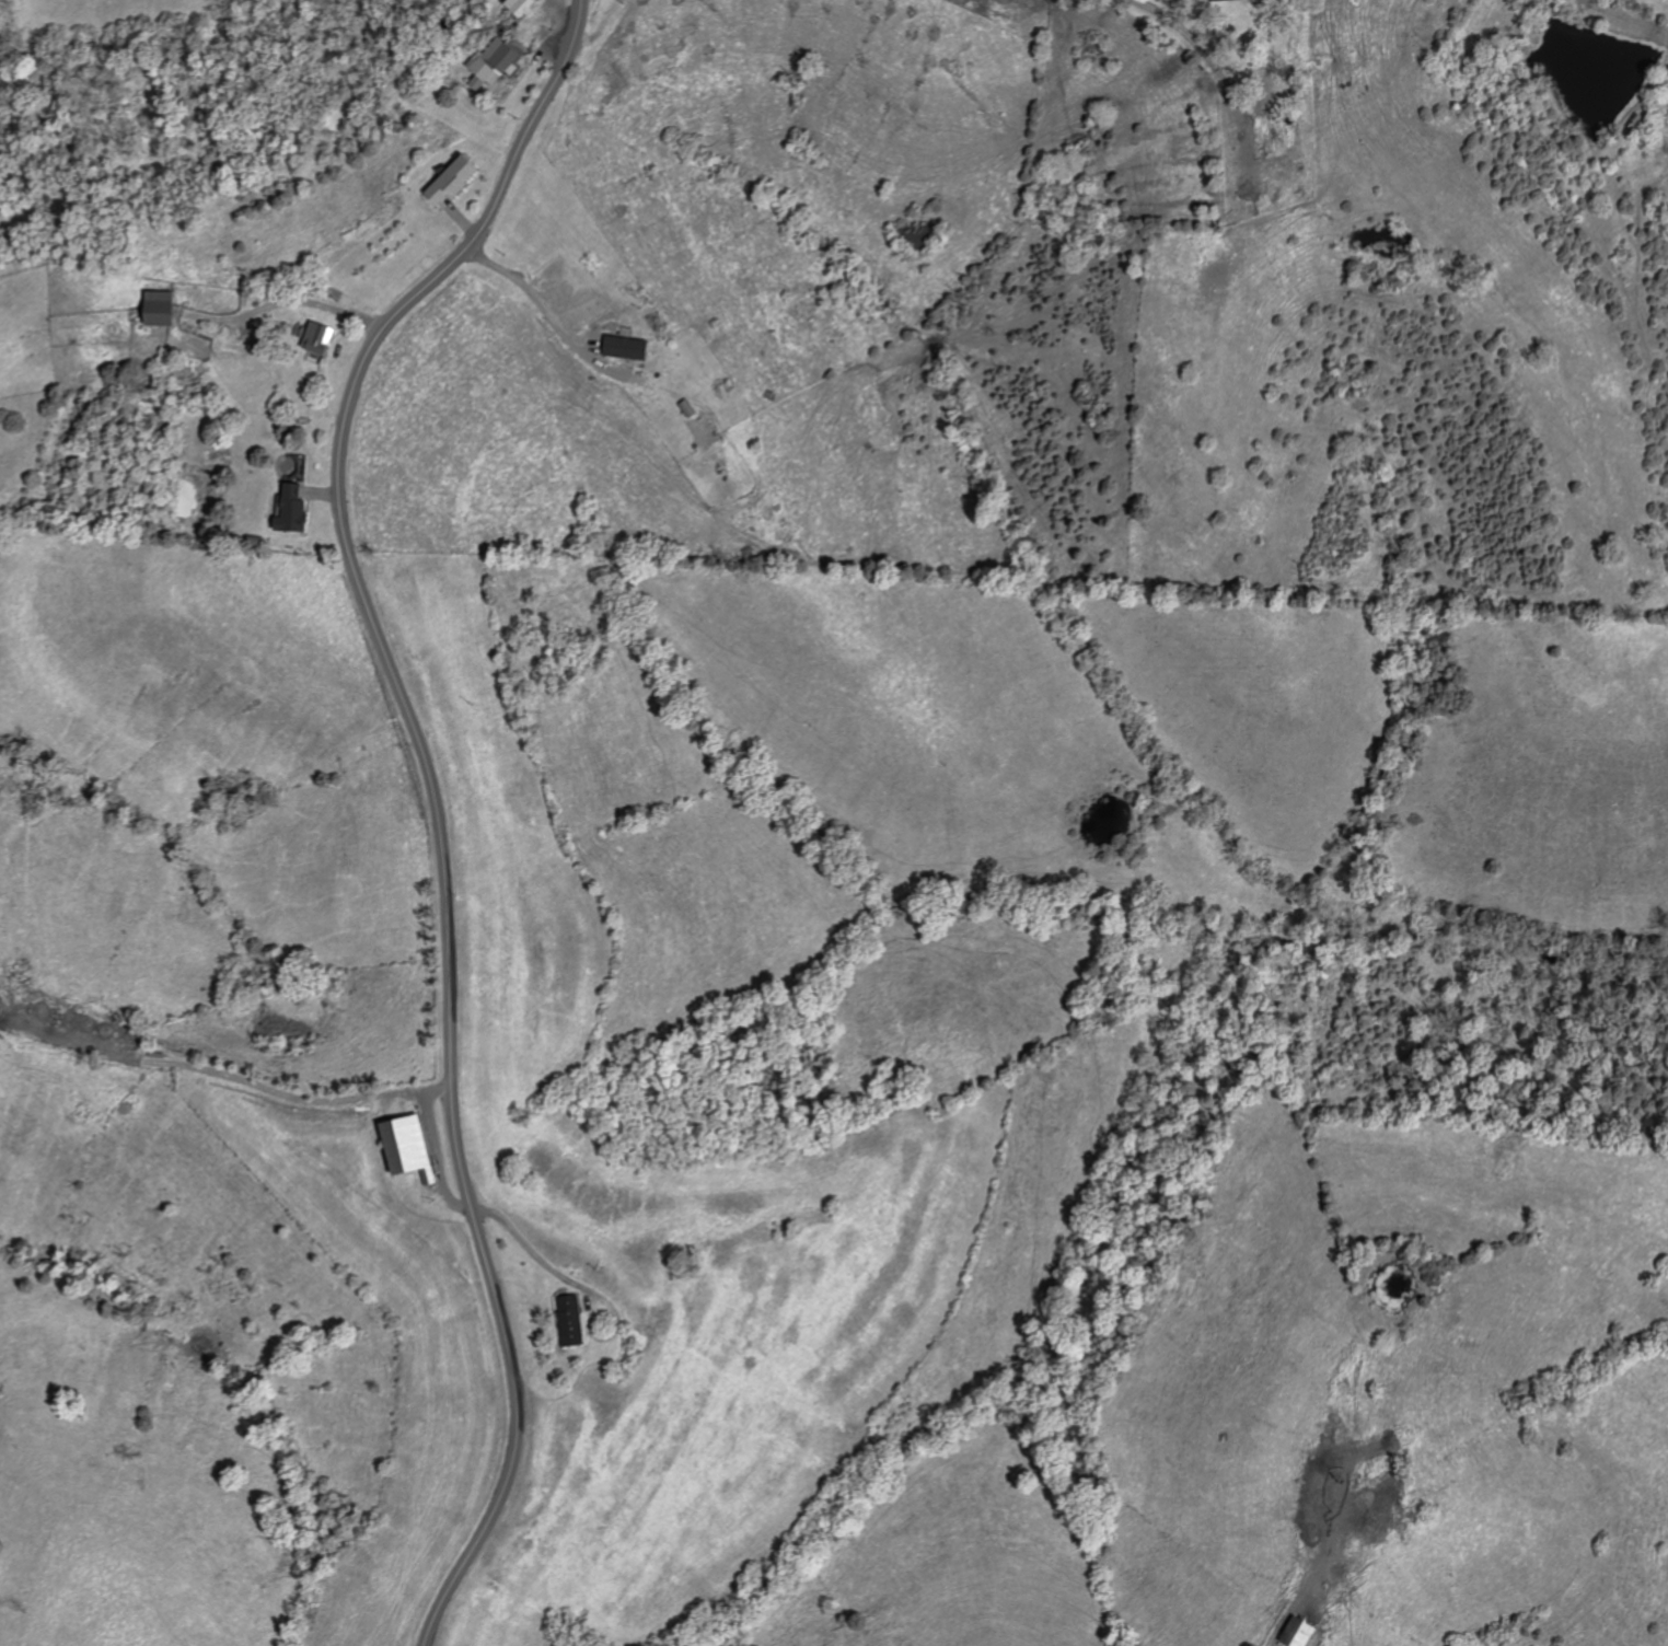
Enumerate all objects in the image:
building: (491, 62)
building: (449, 178)
road: (541, 294)
building: (153, 305)
building: (316, 336)
building: (623, 346)
building: (703, 427)
building: (288, 508)
road: (435, 793)
road: (232, 1075)
building: (403, 1145)
road: (437, 1156)
road: (532, 1249)
building: (568, 1319)

